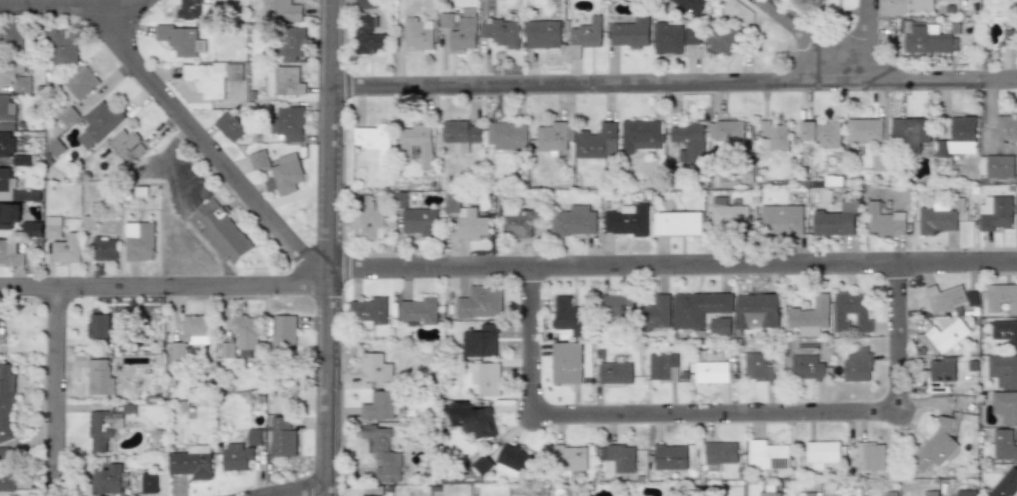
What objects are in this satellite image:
building: (647, 0)
building: (364, 4)
building: (690, 5)
building: (921, 5)
building: (1014, 5)
road: (124, 9)
building: (190, 10)
building: (281, 10)
park: (826, 12)
building: (445, 21)
building: (500, 33)
building: (630, 33)
building: (417, 34)
building: (541, 34)
building: (12, 36)
building: (366, 36)
building: (462, 36)
building: (691, 36)
building: (584, 37)
building: (1008, 37)
building: (180, 39)
building: (667, 39)
road: (801, 39)
road: (866, 39)
building: (925, 39)
building: (721, 40)
building: (291, 45)
building: (60, 48)
building: (14, 74)
building: (207, 76)
building: (284, 81)
road: (674, 82)
building: (76, 92)
road: (179, 104)
building: (6, 114)
building: (101, 122)
building: (290, 124)
building: (229, 127)
building: (1005, 128)
building: (864, 130)
building: (725, 131)
building: (460, 132)
building: (910, 132)
building: (640, 134)
building: (820, 134)
building: (960, 134)
building: (686, 135)
building: (773, 135)
building: (368, 136)
building: (506, 136)
building: (551, 139)
building: (419, 141)
building: (596, 142)
building: (6, 144)
building: (126, 146)
building: (56, 148)
building: (258, 160)
building: (878, 162)
building: (996, 167)
building: (284, 174)
building: (833, 181)
building: (14, 189)
building: (728, 213)
building: (995, 214)
building: (10, 216)
building: (365, 218)
building: (627, 219)
building: (935, 219)
building: (466, 220)
building: (574, 220)
building: (782, 220)
building: (837, 220)
building: (883, 220)
building: (518, 221)
building: (417, 222)
building: (677, 224)
building: (32, 229)
building: (224, 235)
building: (62, 241)
building: (140, 242)
road: (325, 247)
building: (105, 248)
building: (13, 253)
road: (507, 267)
building: (945, 299)
building: (1001, 299)
building: (478, 303)
building: (615, 309)
building: (417, 310)
building: (367, 311)
building: (703, 311)
building: (757, 311)
building: (657, 312)
building: (851, 312)
building: (810, 314)
building: (570, 315)
building: (98, 326)
building: (195, 330)
building: (1004, 331)
building: (245, 334)
building: (283, 334)
building: (945, 336)
building: (2, 339)
building: (480, 341)
building: (226, 350)
building: (566, 363)
building: (857, 365)
building: (663, 367)
building: (809, 367)
building: (374, 368)
building: (759, 368)
building: (617, 369)
building: (709, 369)
building: (1003, 370)
building: (940, 375)
building: (485, 377)
building: (100, 378)
road: (57, 389)
building: (6, 402)
building: (380, 405)
building: (1004, 406)
road: (714, 415)
building: (472, 419)
building: (103, 429)
building: (253, 437)
building: (281, 438)
building: (1002, 445)
building: (935, 447)
building: (382, 452)
building: (717, 452)
building: (820, 453)
building: (768, 455)
building: (3, 456)
building: (669, 456)
building: (869, 456)
building: (235, 457)
building: (569, 458)
building: (617, 458)
building: (513, 459)
building: (191, 463)
building: (481, 465)
building: (108, 480)
building: (7, 482)
building: (147, 483)
building: (1005, 484)
road: (297, 489)
building: (767, 491)
building: (965, 492)
building: (891, 493)
building: (929, 493)
building: (808, 494)
building: (371, 495)
building: (617, 495)
building: (834, 495)

